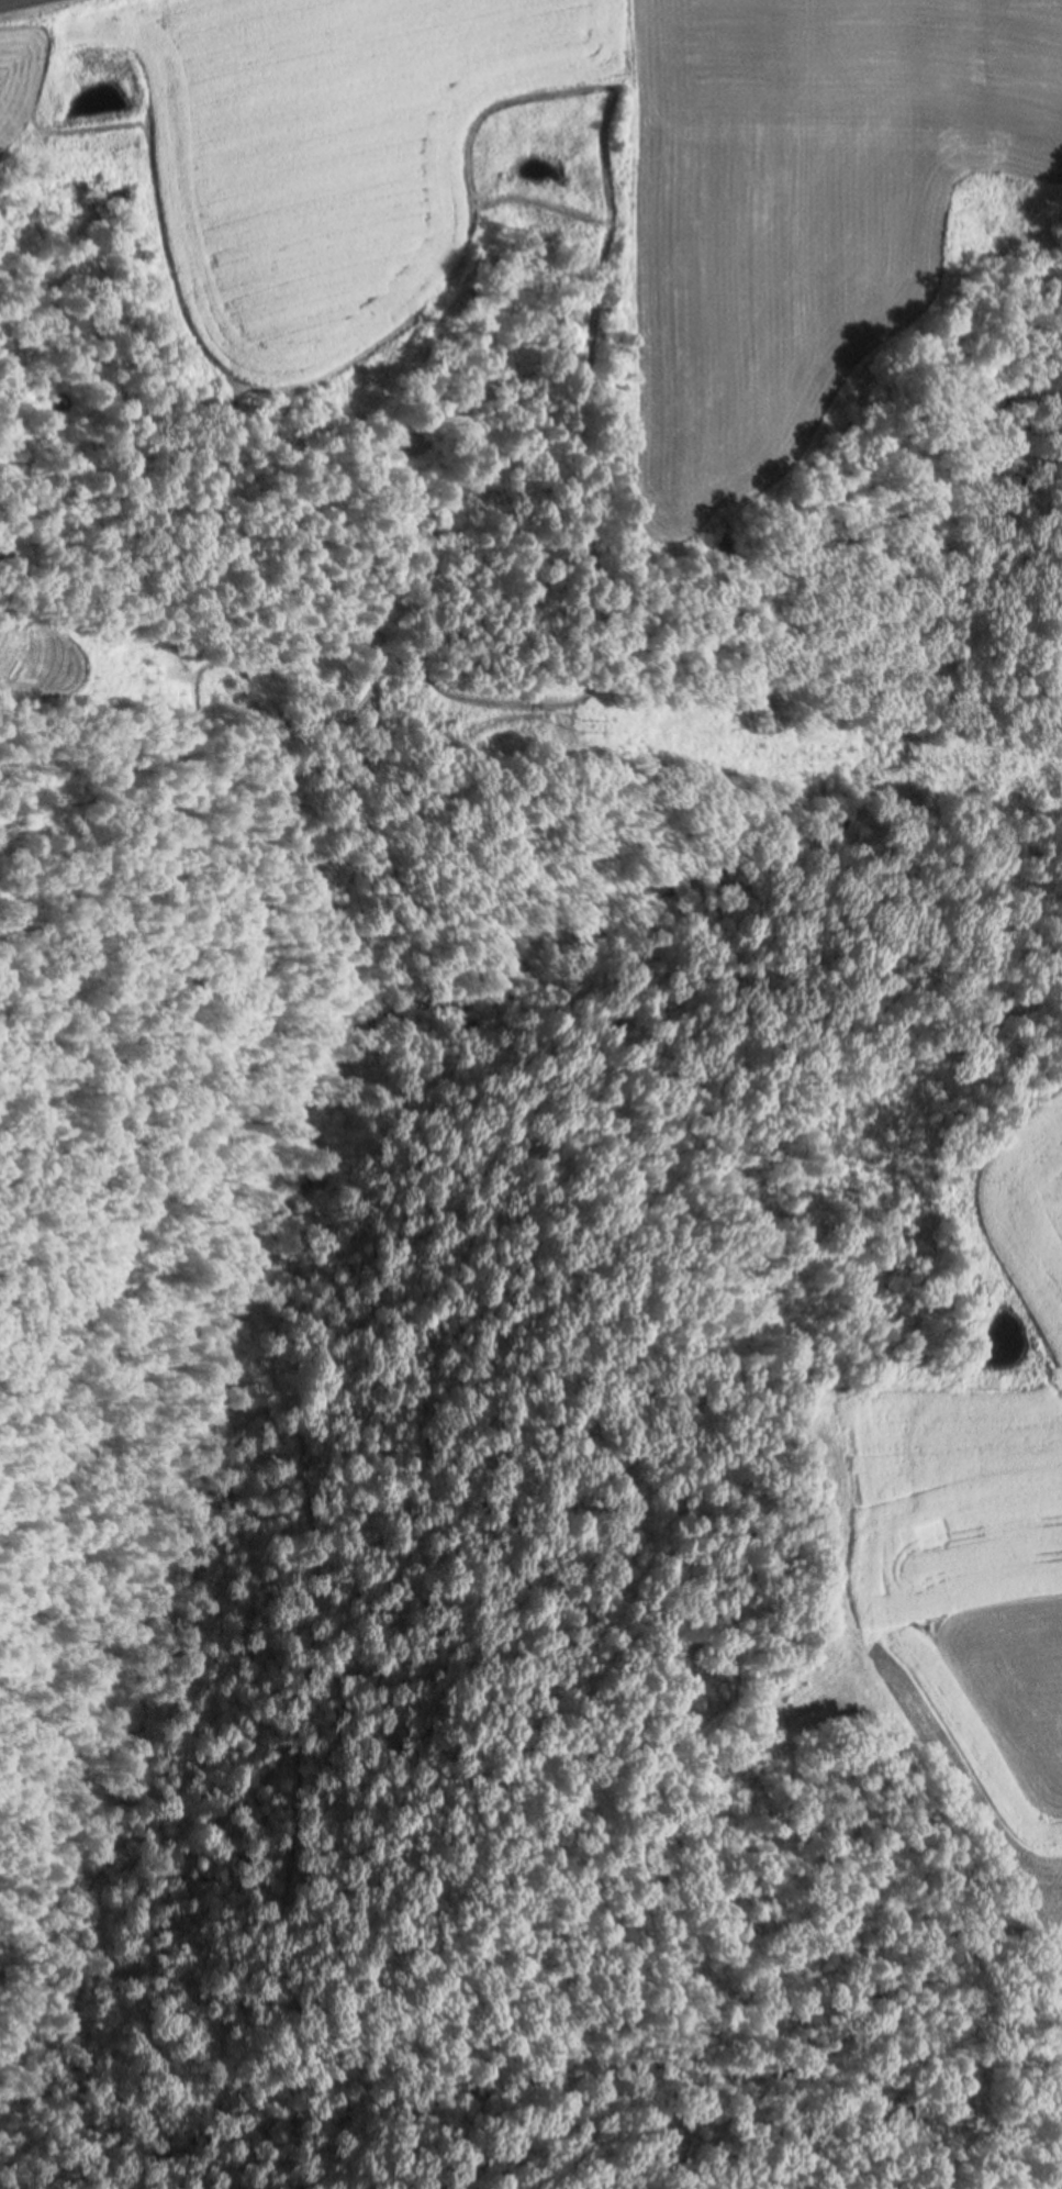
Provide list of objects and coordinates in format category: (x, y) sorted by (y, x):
power tower: (584, 724)

